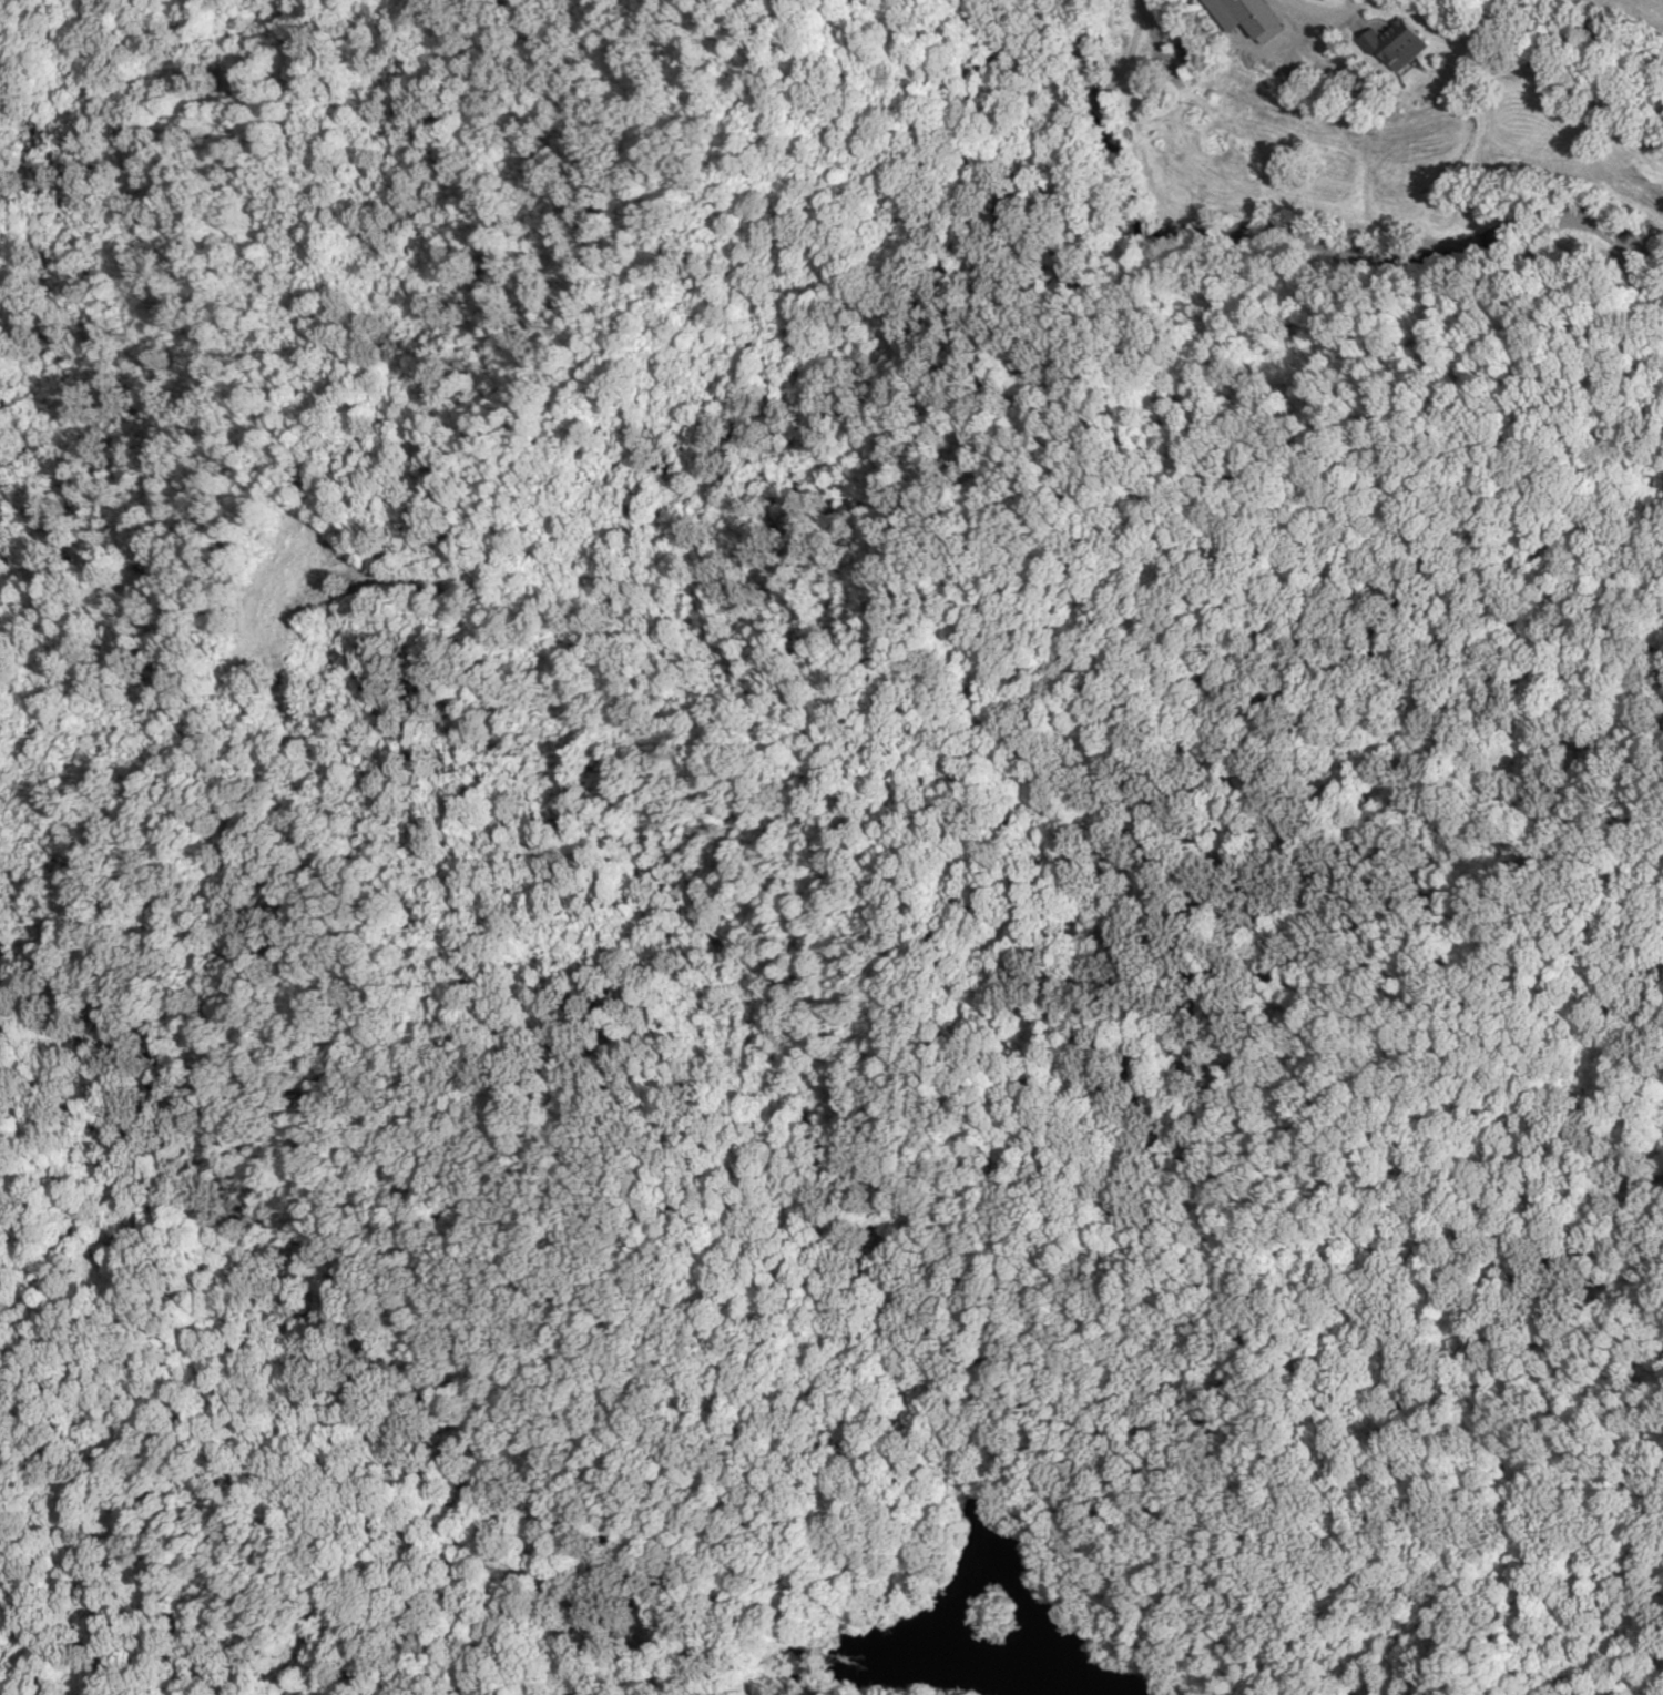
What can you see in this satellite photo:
building: (1235, 7)
road: (1322, 9)
building: (1394, 43)

